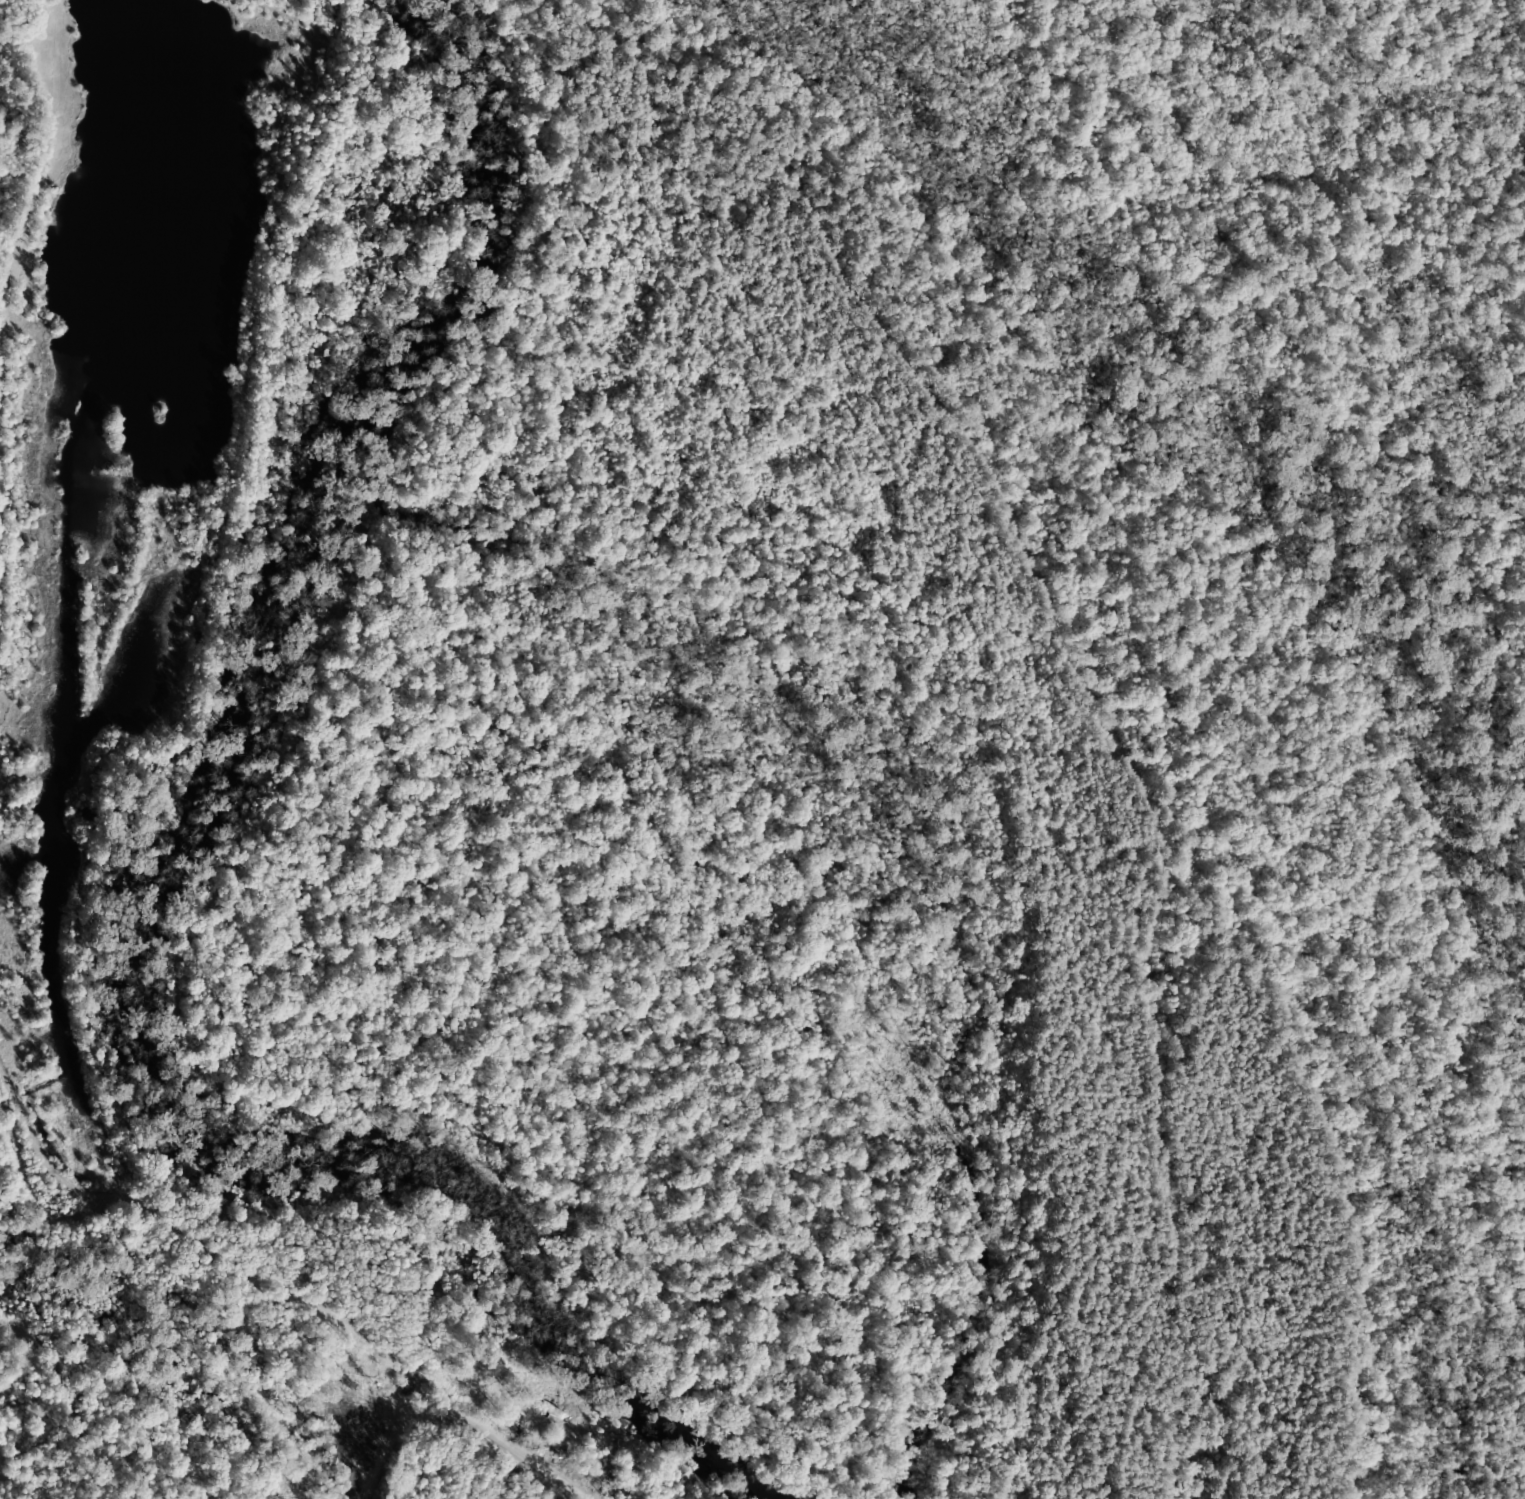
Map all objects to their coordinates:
road: (275, 1286)
road: (467, 1421)

